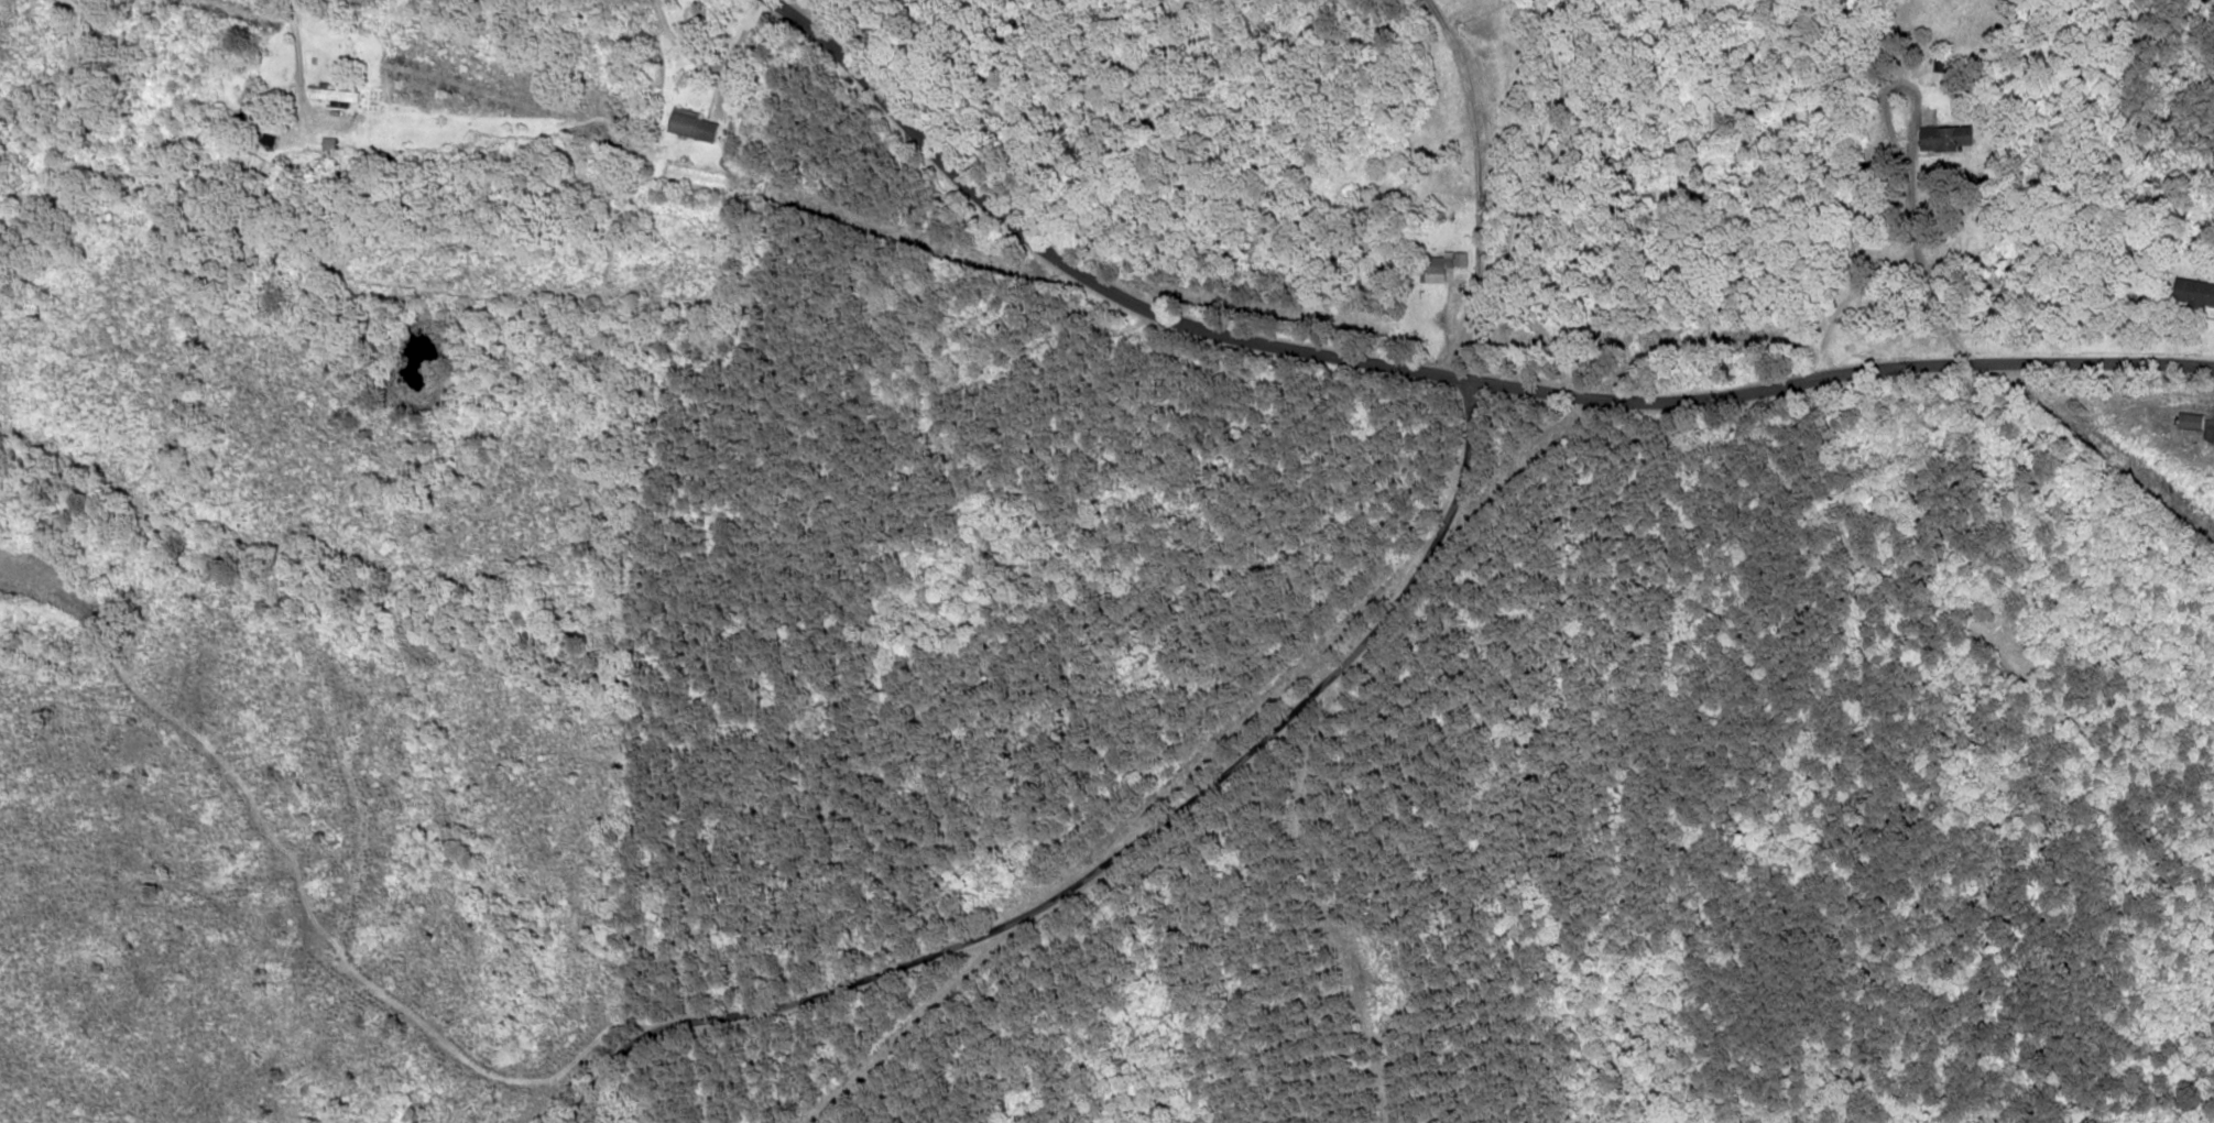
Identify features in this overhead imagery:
building: (328, 94)
building: (689, 123)
building: (1935, 137)
building: (1439, 266)
building: (2193, 291)
road: (1441, 370)
building: (2186, 421)
road: (1851, 742)
road: (1124, 849)

